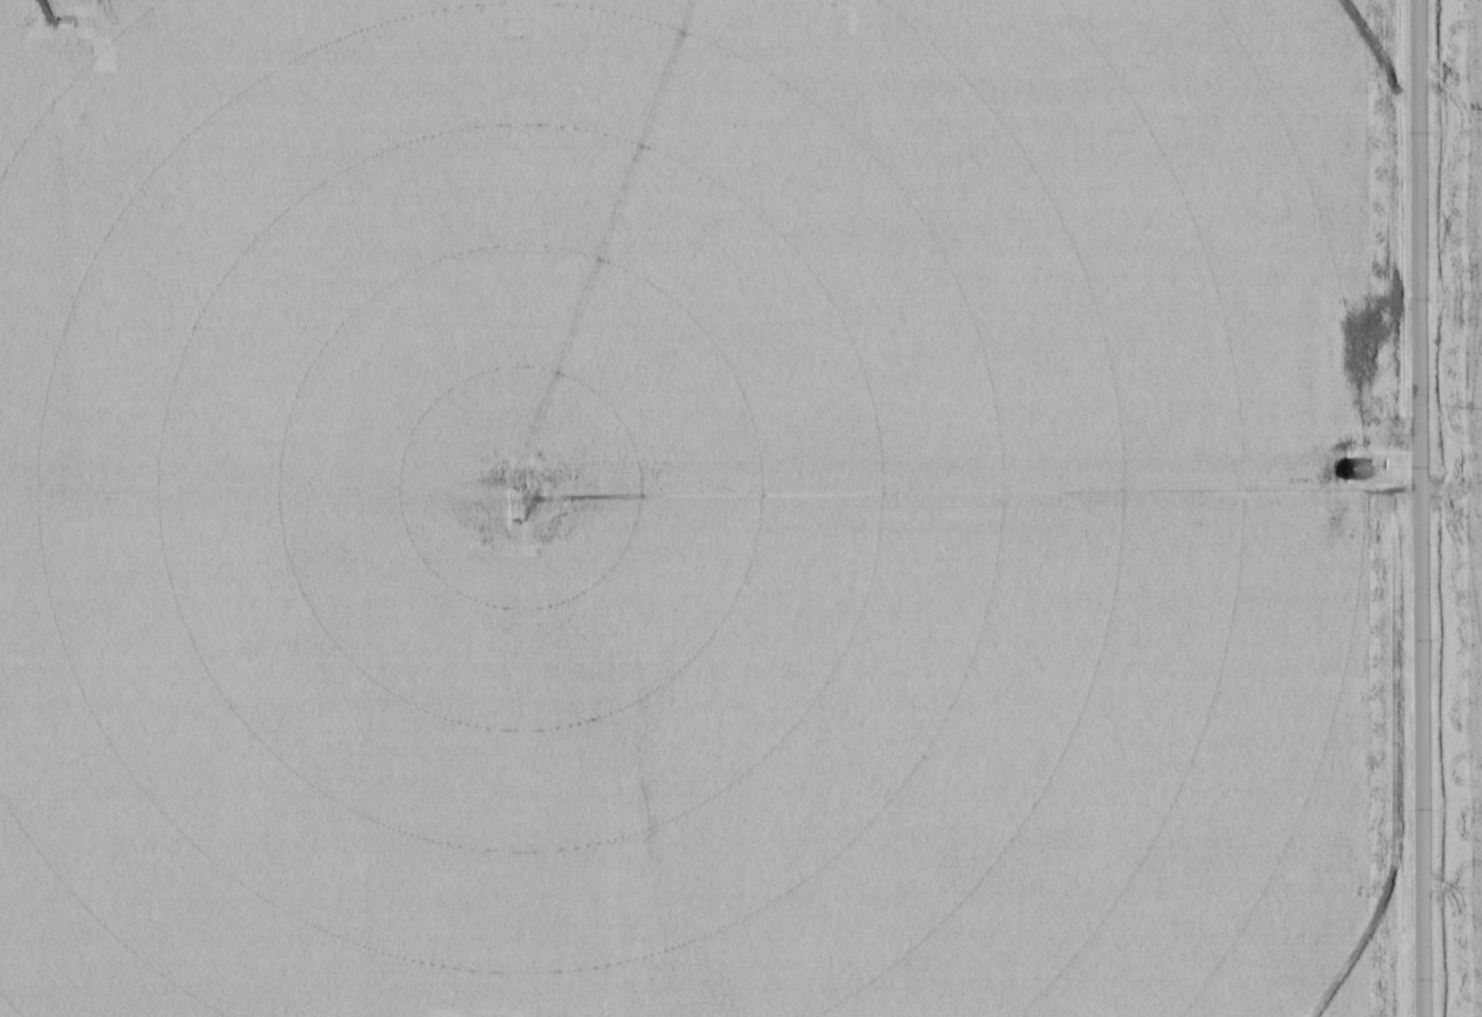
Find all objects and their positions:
road: (1420, 508)

